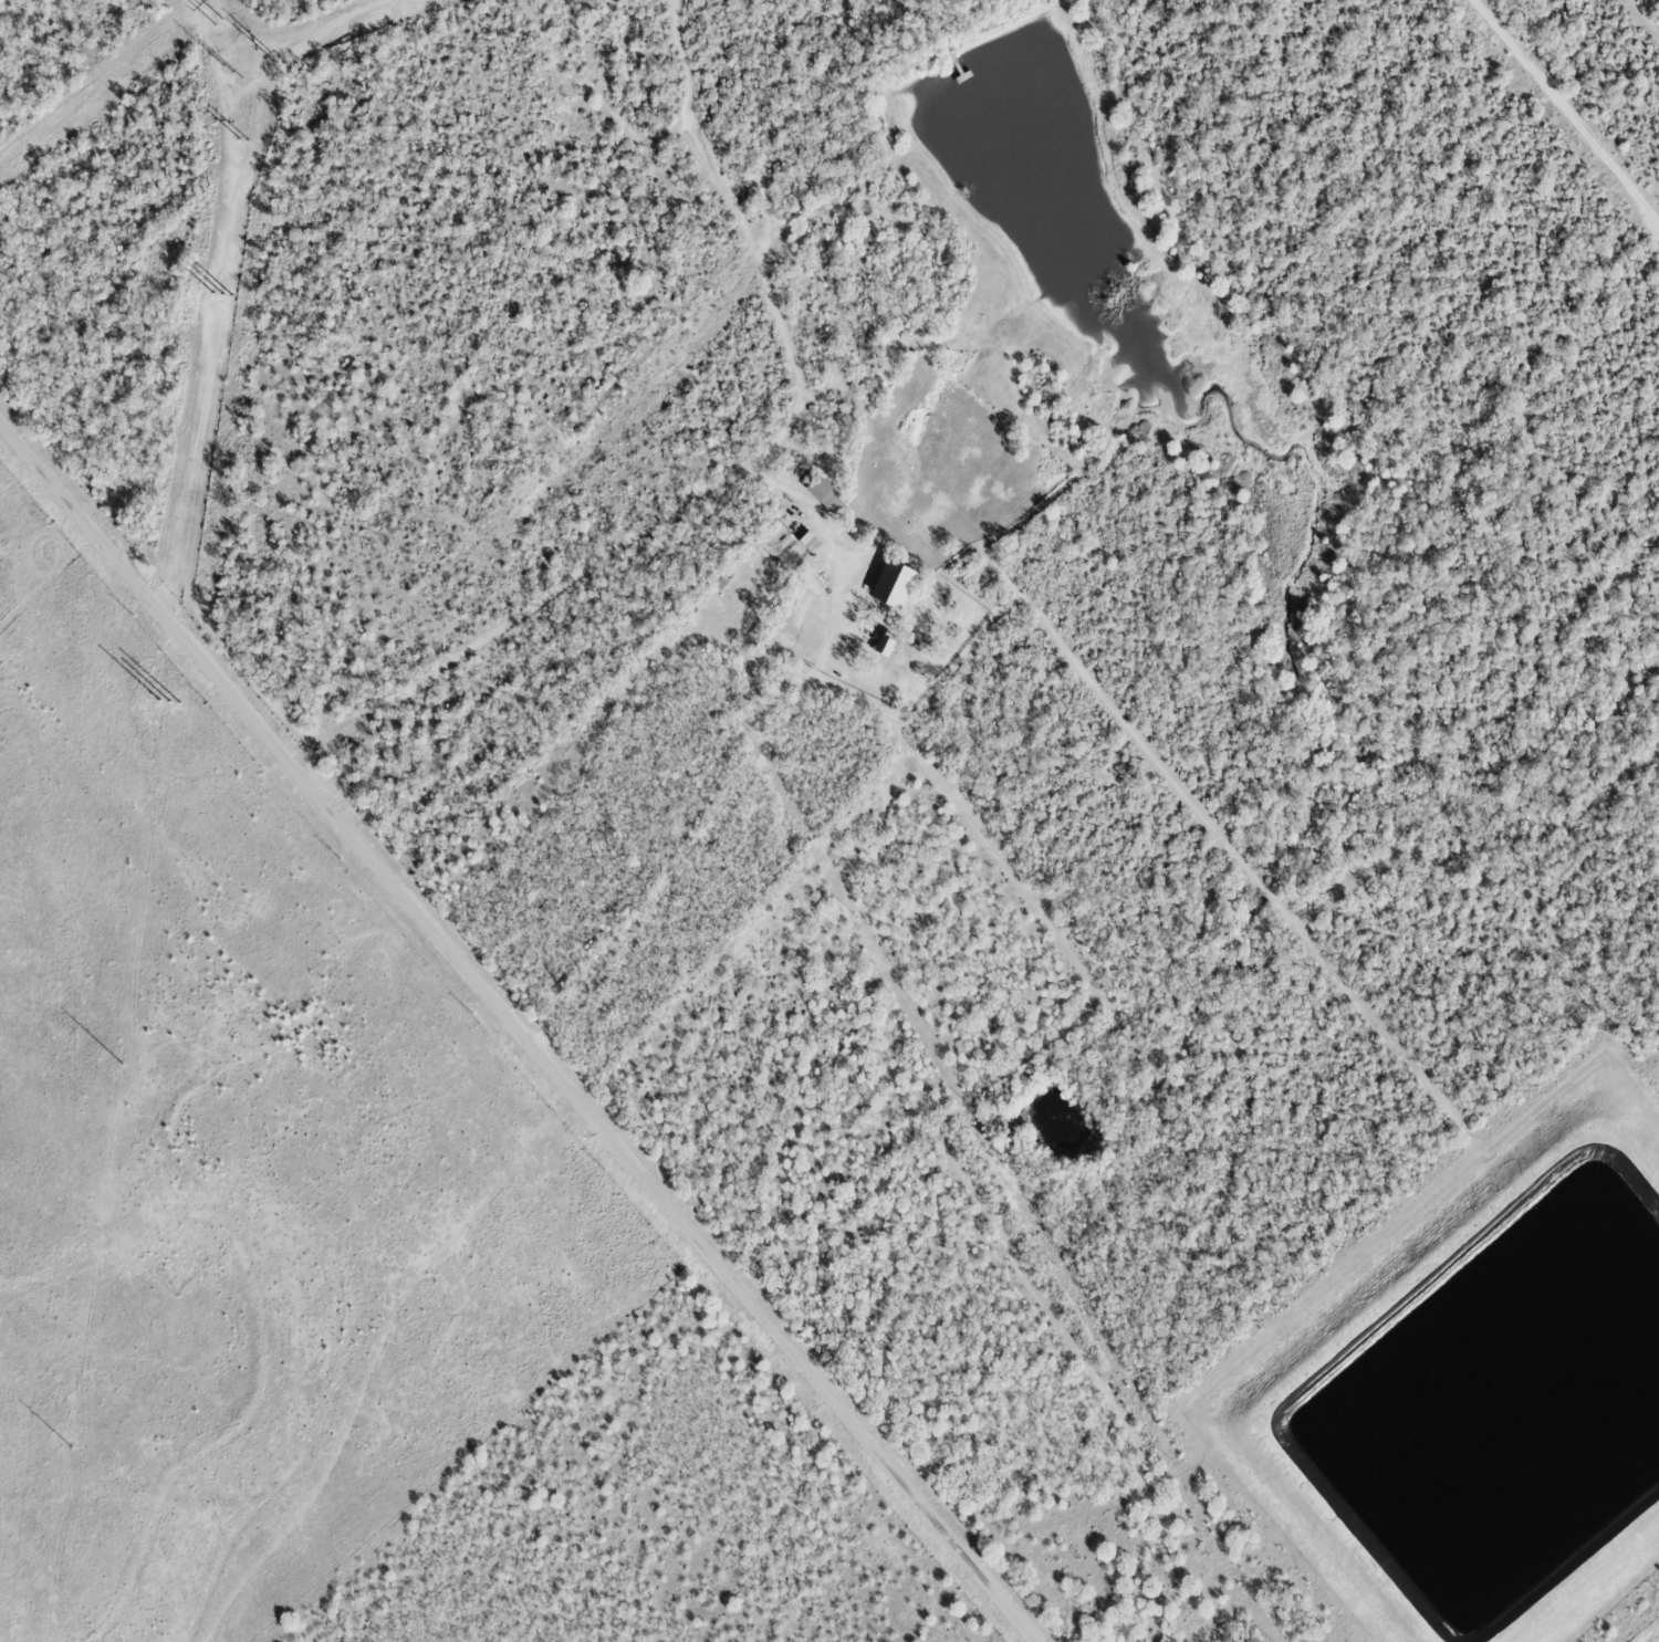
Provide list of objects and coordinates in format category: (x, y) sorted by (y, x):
power tower: (217, 22)
power tower: (262, 60)
power tower: (227, 73)
road: (1569, 106)
power tower: (244, 127)
power tower: (225, 291)
building: (821, 495)
building: (806, 543)
building: (889, 586)
building: (873, 641)
power tower: (171, 672)
road: (514, 1035)
power tower: (122, 1058)
power tower: (71, 1441)

